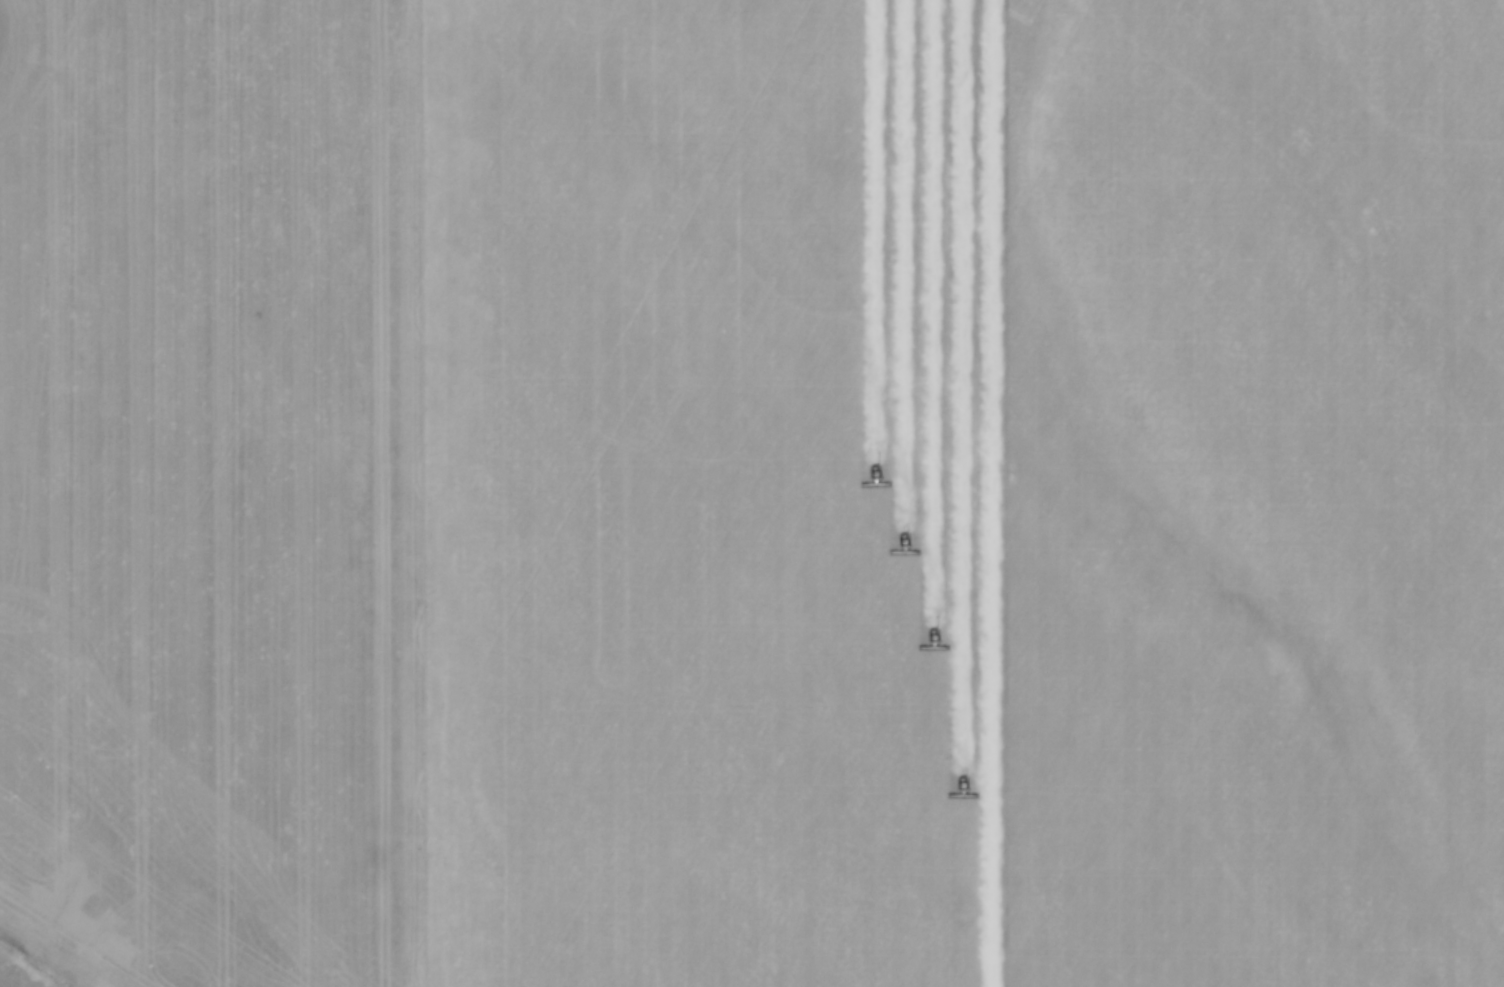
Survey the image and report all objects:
crop: (752, 492)

